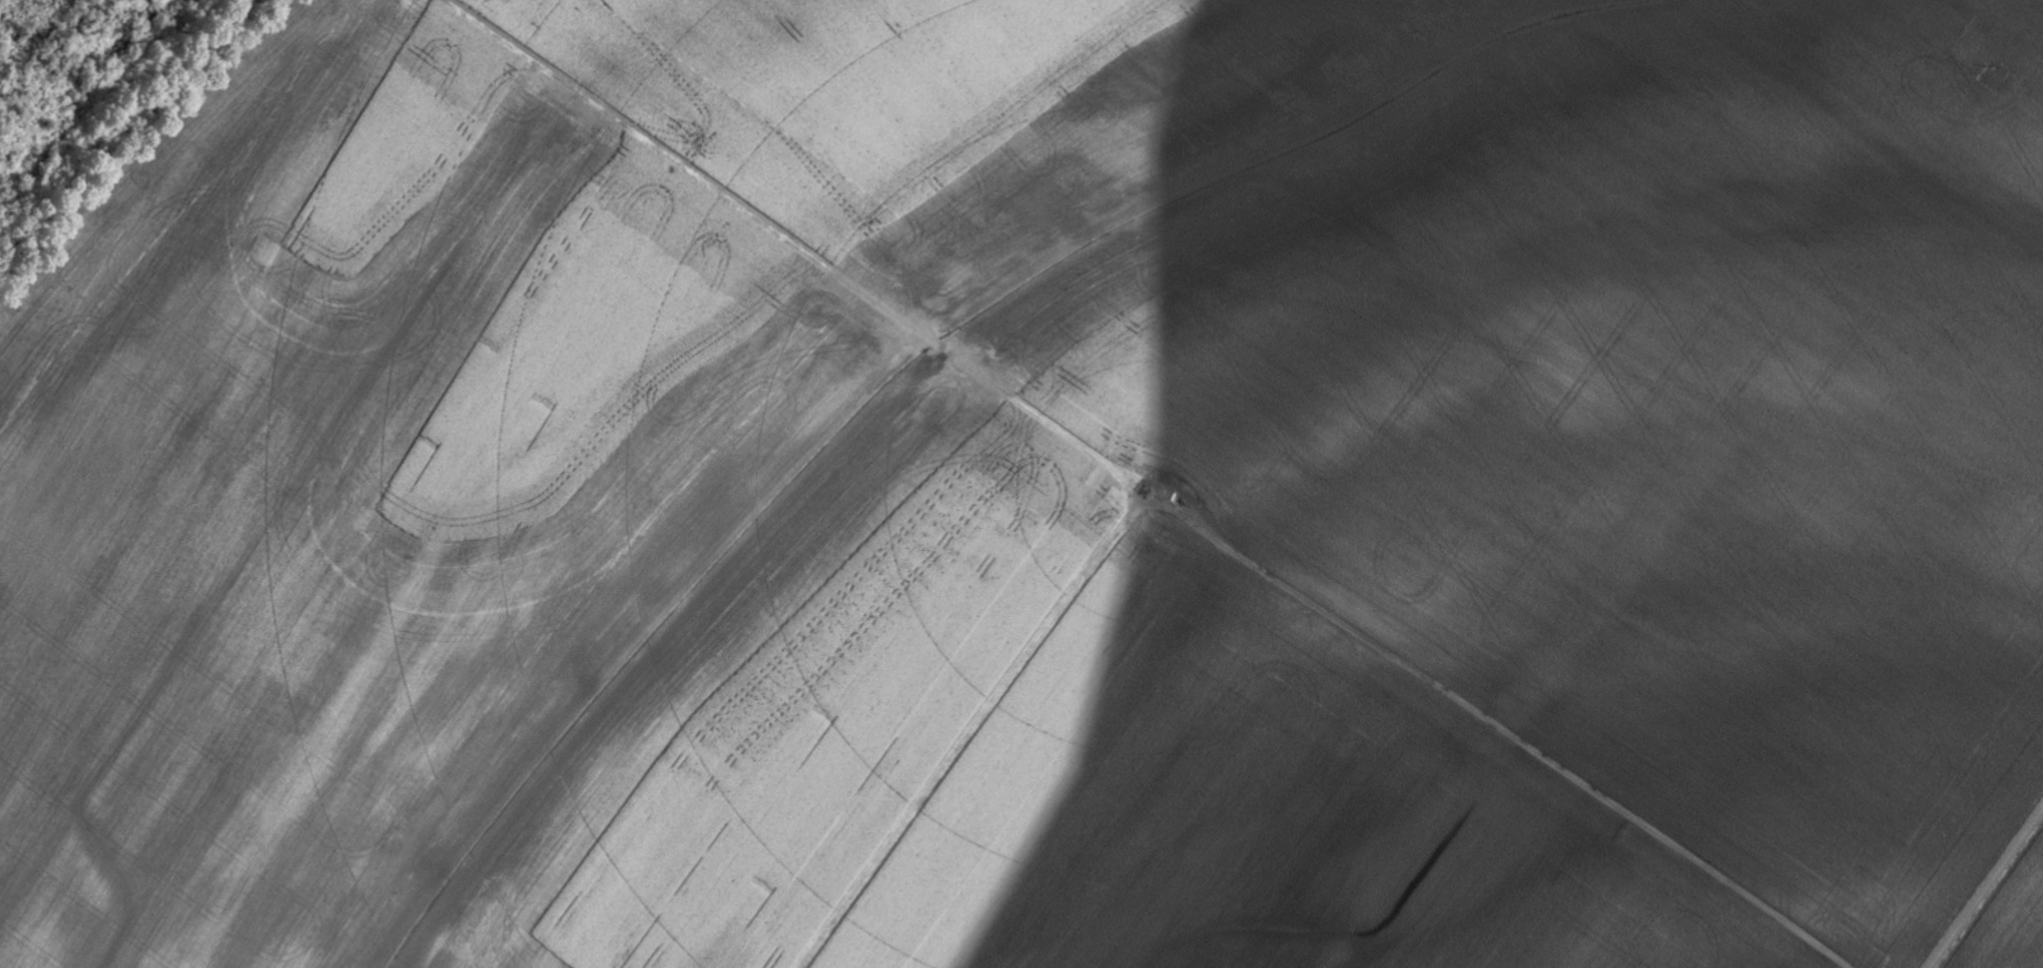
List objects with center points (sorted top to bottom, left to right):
road: (1986, 888)

